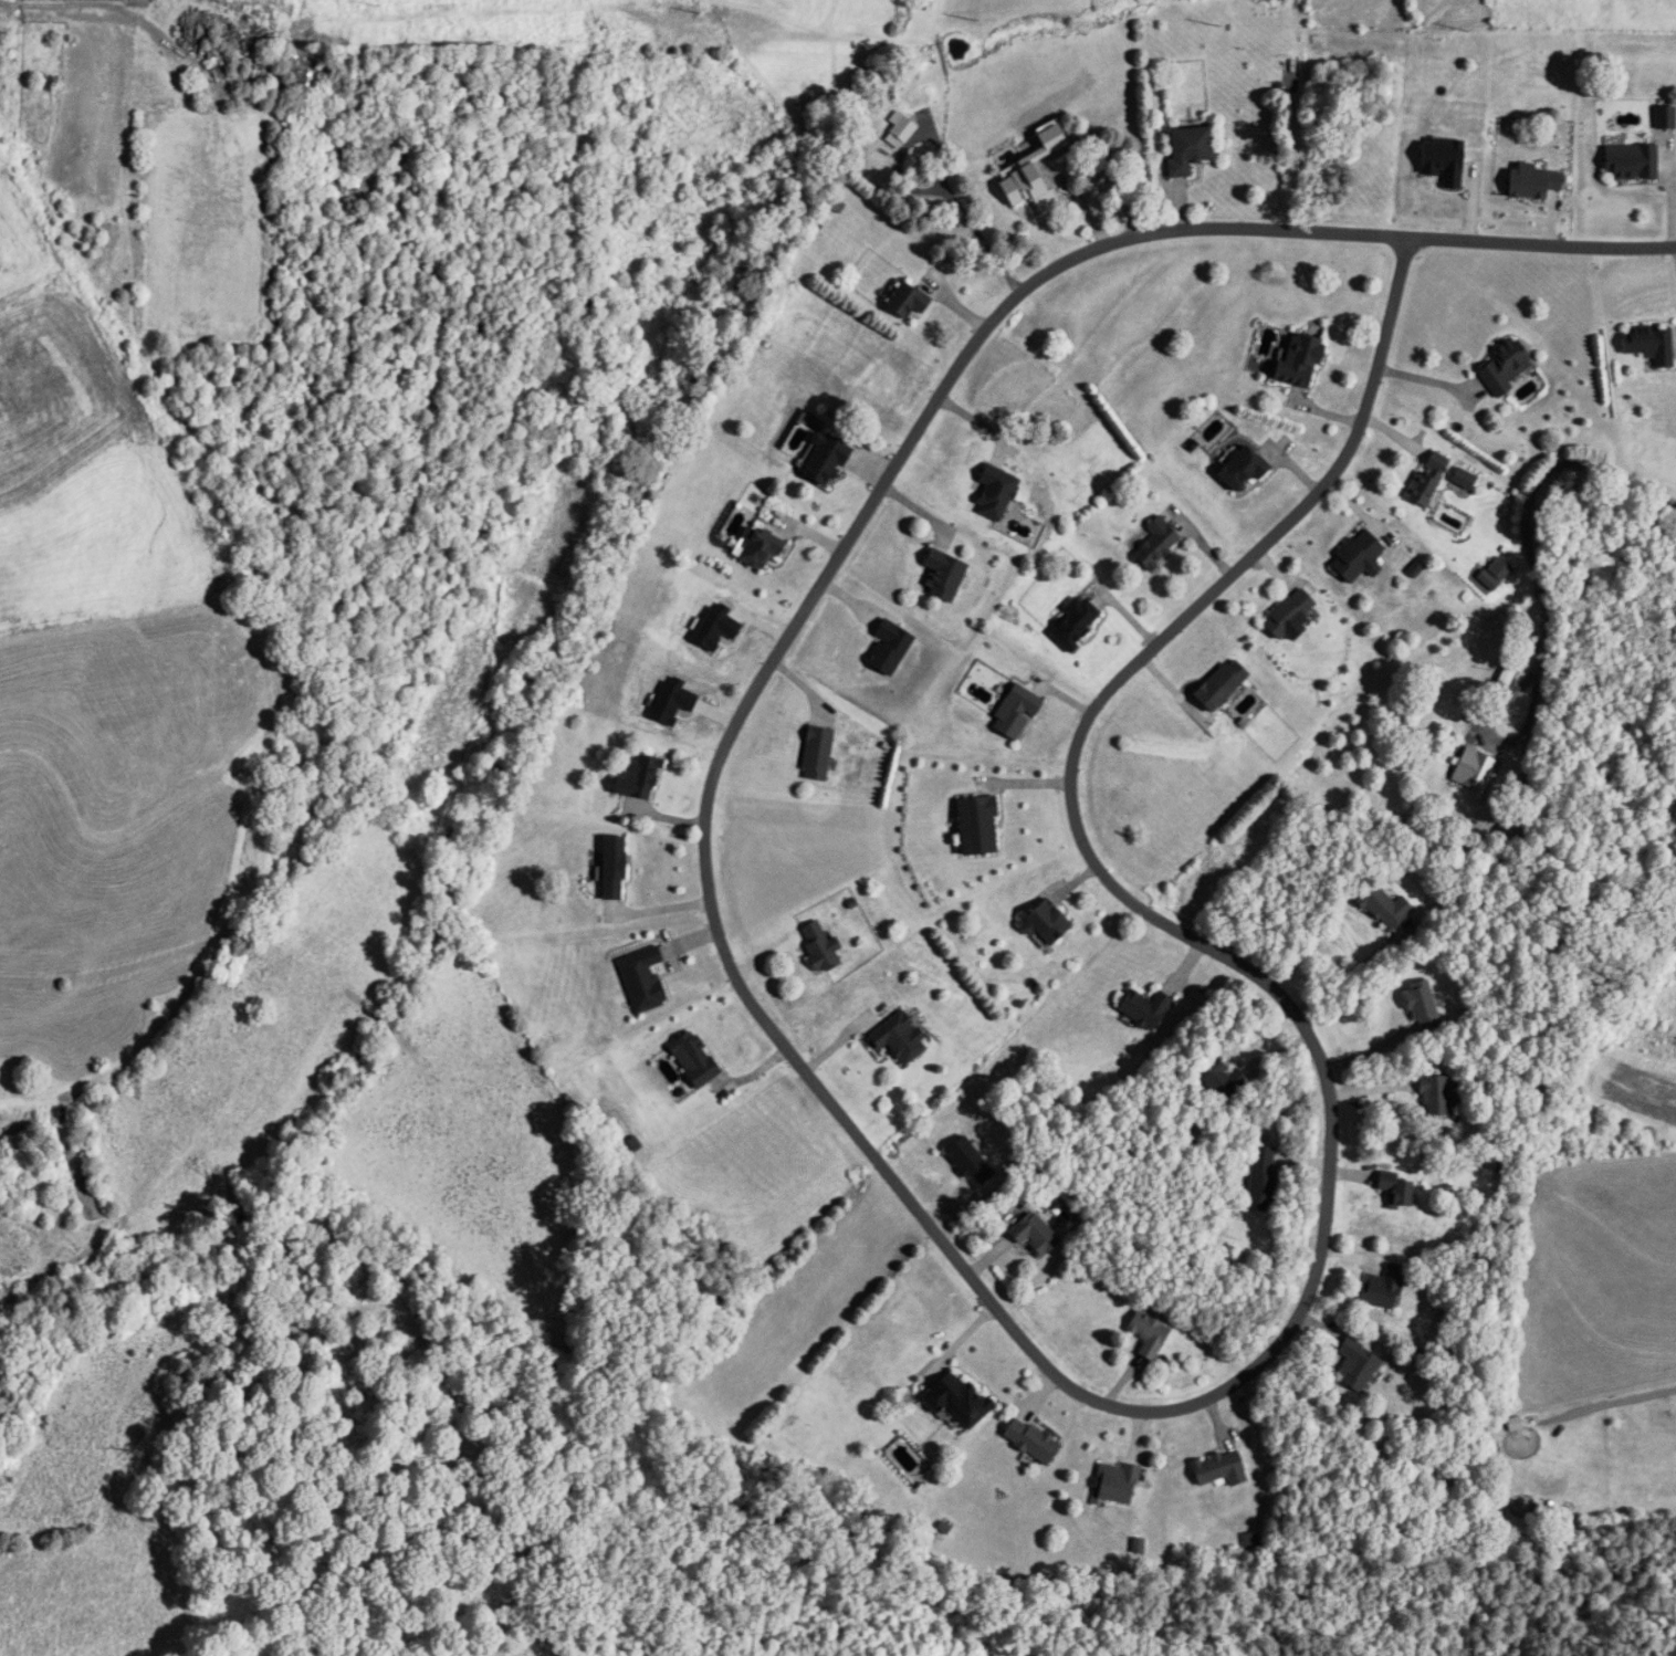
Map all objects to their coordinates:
road: (105, 4)
road: (946, 74)
building: (306, 81)
building: (1664, 116)
building: (900, 128)
building: (1186, 148)
building: (1630, 161)
road: (919, 188)
building: (1025, 188)
building: (835, 203)
road: (1536, 242)
building: (904, 301)
building: (1647, 345)
building: (1298, 361)
building: (1504, 366)
road: (1420, 378)
building: (821, 460)
building: (1238, 469)
building: (1422, 482)
building: (993, 492)
road: (1531, 497)
building: (1154, 543)
building: (757, 545)
building: (1355, 557)
building: (942, 575)
building: (1285, 612)
building: (1072, 621)
building: (887, 644)
building: (1508, 670)
building: (1217, 684)
building: (1014, 712)
road: (1494, 741)
building: (815, 751)
building: (1475, 771)
building: (636, 778)
building: (975, 825)
building: (1509, 834)
building: (610, 868)
building: (1384, 908)
building: (1044, 923)
building: (819, 947)
road: (1350, 973)
building: (640, 979)
building: (1143, 1008)
building: (1422, 1008)
building: (897, 1038)
building: (692, 1059)
building: (1219, 1077)
building: (1436, 1096)
building: (1260, 1178)
building: (1393, 1189)
road: (925, 1235)
building: (1033, 1235)
building: (1381, 1286)
building: (1148, 1334)
building: (1355, 1365)
building: (955, 1398)
building: (1029, 1439)
building: (1218, 1468)
building: (1114, 1482)
building: (1254, 1542)

